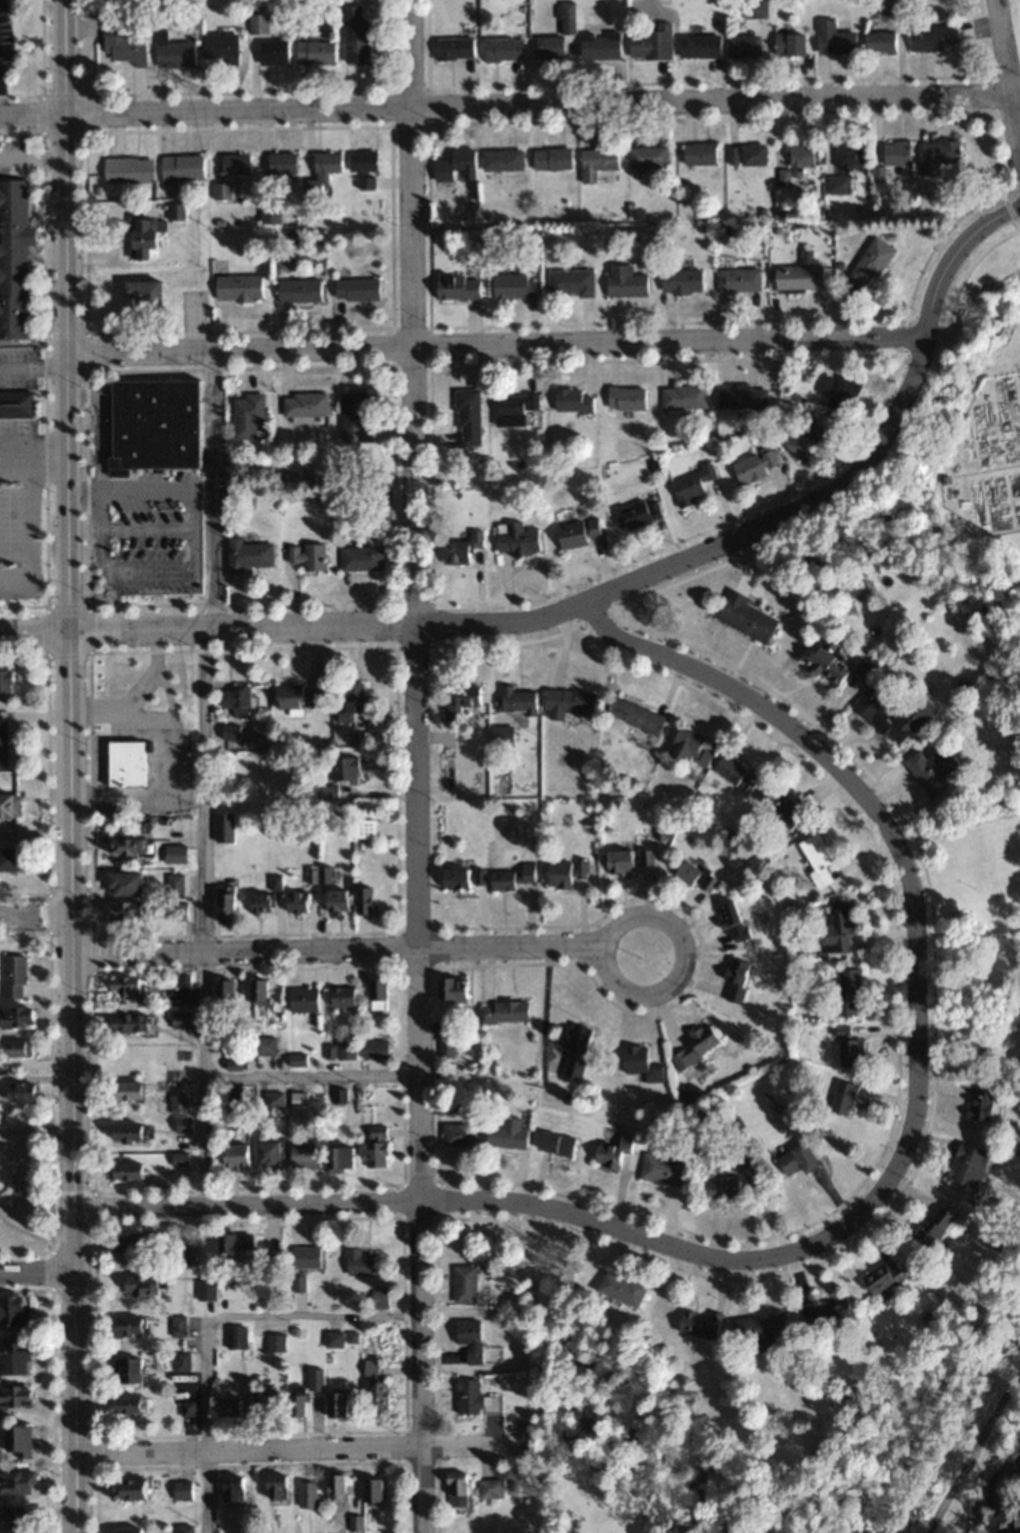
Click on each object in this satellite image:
building: (257, 24)
park: (1014, 30)
building: (355, 35)
building: (932, 38)
building: (833, 39)
building: (878, 42)
building: (651, 44)
building: (789, 44)
building: (599, 46)
building: (698, 46)
building: (742, 46)
building: (124, 47)
building: (548, 47)
building: (219, 48)
building: (453, 49)
building: (502, 50)
building: (172, 53)
building: (273, 53)
building: (315, 53)
road: (1007, 73)
street lamp: (75, 77)
road: (534, 101)
road: (29, 114)
street lamp: (43, 132)
building: (895, 153)
building: (698, 154)
building: (745, 155)
building: (847, 155)
building: (936, 157)
building: (647, 158)
road: (30, 159)
building: (551, 159)
building: (501, 160)
building: (362, 161)
building: (596, 163)
building: (795, 163)
building: (234, 165)
building: (455, 165)
building: (281, 166)
building: (181, 169)
building: (127, 170)
building: (322, 173)
building: (365, 182)
building: (221, 192)
building: (177, 212)
building: (269, 212)
building: (142, 240)
building: (13, 261)
building: (870, 263)
building: (798, 278)
building: (738, 280)
building: (680, 281)
building: (624, 282)
building: (570, 283)
building: (513, 286)
building: (457, 287)
building: (237, 288)
building: (355, 289)
building: (298, 290)
building: (142, 294)
street lamp: (49, 327)
road: (495, 344)
road: (33, 367)
building: (838, 390)
building: (741, 396)
building: (683, 397)
building: (625, 398)
building: (571, 401)
building: (15, 404)
building: (304, 405)
building: (513, 406)
building: (247, 416)
building: (354, 416)
building: (467, 417)
building: (153, 426)
road: (99, 429)
building: (803, 438)
road: (15, 455)
park: (946, 464)
building: (754, 466)
road: (852, 472)
building: (690, 487)
road: (83, 492)
road: (161, 492)
road: (29, 508)
street lamp: (50, 510)
road: (99, 510)
building: (639, 514)
road: (148, 528)
building: (570, 536)
building: (516, 539)
road: (197, 548)
building: (460, 549)
building: (248, 555)
building: (307, 557)
building: (360, 559)
road: (131, 570)
building: (746, 620)
road: (33, 635)
street lamp: (37, 661)
building: (826, 663)
building: (5, 683)
building: (288, 697)
building: (235, 701)
building: (349, 701)
building: (516, 701)
building: (460, 702)
building: (567, 704)
building: (893, 714)
building: (634, 716)
building: (229, 733)
building: (500, 736)
building: (2, 743)
building: (690, 749)
road: (166, 755)
street lamp: (77, 762)
building: (125, 765)
road: (67, 766)
road: (414, 766)
building: (343, 768)
building: (930, 771)
building: (734, 775)
road: (203, 776)
building: (328, 793)
building: (8, 807)
building: (783, 809)
road: (877, 817)
building: (223, 828)
building: (364, 832)
building: (127, 848)
building: (174, 855)
building: (817, 860)
building: (11, 861)
building: (630, 861)
building: (559, 875)
building: (695, 876)
building: (512, 877)
building: (455, 879)
street lamp: (83, 881)
building: (123, 885)
building: (173, 885)
building: (336, 901)
building: (367, 901)
building: (224, 903)
building: (296, 903)
building: (261, 904)
building: (123, 912)
building: (177, 912)
road: (34, 913)
building: (731, 920)
building: (836, 930)
park: (972, 936)
street lamp: (54, 948)
road: (335, 950)
building: (12, 977)
building: (736, 980)
road: (669, 985)
building: (127, 988)
building: (452, 988)
building: (227, 989)
building: (259, 989)
building: (377, 992)
building: (847, 992)
building: (341, 995)
building: (303, 999)
building: (505, 1011)
building: (15, 1016)
building: (178, 1020)
building: (131, 1023)
building: (263, 1045)
building: (697, 1045)
building: (15, 1048)
building: (373, 1048)
building: (445, 1048)
building: (339, 1049)
building: (848, 1049)
building: (573, 1052)
building: (296, 1059)
building: (641, 1063)
road: (309, 1075)
building: (126, 1091)
building: (19, 1092)
building: (842, 1097)
building: (273, 1099)
building: (297, 1099)
building: (177, 1104)
building: (981, 1104)
street lamp: (56, 1108)
building: (182, 1125)
road: (35, 1130)
building: (127, 1134)
building: (509, 1134)
building: (458, 1135)
building: (557, 1143)
building: (375, 1146)
building: (613, 1148)
building: (267, 1153)
building: (235, 1154)
building: (303, 1156)
building: (341, 1157)
building: (179, 1159)
building: (796, 1160)
building: (967, 1164)
building: (660, 1170)
building: (126, 1172)
building: (718, 1184)
street lamp: (86, 1192)
road: (246, 1206)
building: (934, 1226)
building: (236, 1242)
building: (127, 1249)
building: (180, 1256)
building: (305, 1257)
building: (358, 1262)
road: (34, 1269)
building: (880, 1277)
building: (465, 1284)
building: (141, 1286)
building: (621, 1288)
building: (378, 1300)
building: (13, 1310)
building: (827, 1313)
road: (207, 1320)
building: (698, 1324)
building: (177, 1326)
building: (127, 1327)
building: (762, 1330)
building: (235, 1337)
building: (333, 1339)
building: (470, 1339)
building: (274, 1342)
building: (14, 1358)
building: (181, 1362)
building: (370, 1365)
building: (128, 1371)
building: (314, 1379)
building: (14, 1396)
building: (467, 1396)
building: (377, 1397)
building: (296, 1401)
building: (265, 1403)
building: (125, 1405)
building: (339, 1405)
building: (229, 1406)
building: (186, 1409)
park: (648, 1416)
street lamp: (95, 1426)
building: (21, 1438)
road: (288, 1444)
road: (972, 1449)
building: (15, 1483)
building: (275, 1486)
building: (335, 1487)
building: (232, 1488)
building: (489, 1488)
building: (128, 1489)
building: (372, 1489)
building: (456, 1489)
building: (181, 1490)
building: (307, 1494)
park: (999, 1497)
building: (15, 1520)
building: (185, 1529)
building: (127, 1530)

